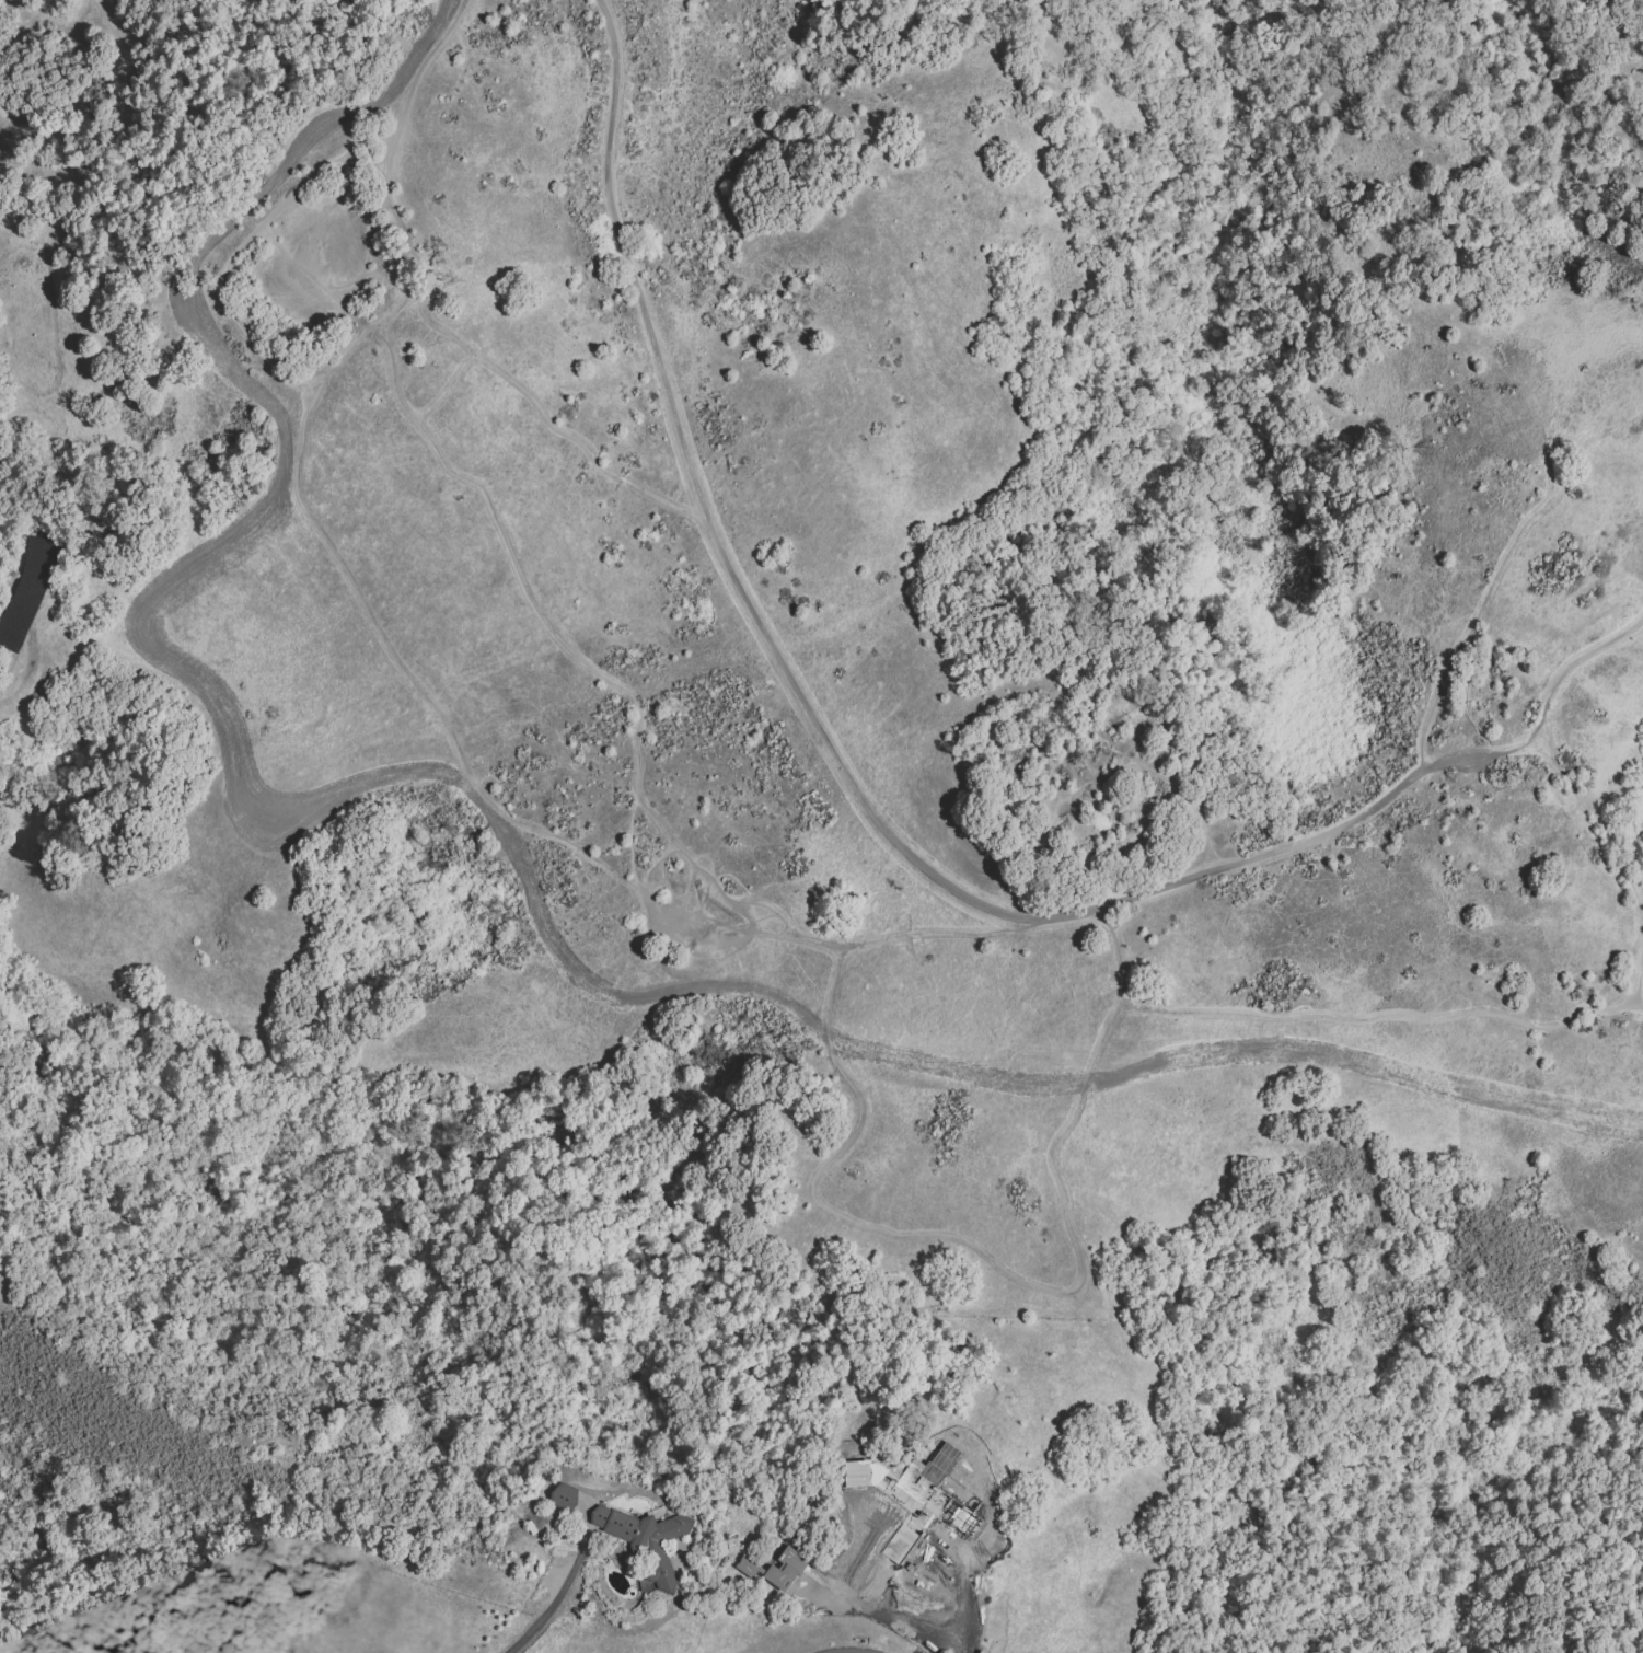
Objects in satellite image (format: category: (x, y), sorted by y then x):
road: (352, 165)
road: (366, 174)
road: (323, 213)
road: (369, 254)
road: (365, 271)
road: (227, 273)
road: (315, 281)
road: (555, 424)
road: (1514, 540)
road: (529, 591)
road: (1581, 663)
road: (407, 667)
road: (1474, 692)
road: (1459, 724)
road: (1538, 753)
road: (843, 761)
road: (1619, 859)
road: (703, 912)
road: (722, 943)
road: (1332, 1016)
road: (868, 1228)
building: (902, 1483)
building: (563, 1496)
building: (646, 1539)
building: (899, 1544)
building: (774, 1568)
road: (975, 1593)
road: (554, 1603)
road: (890, 1619)

